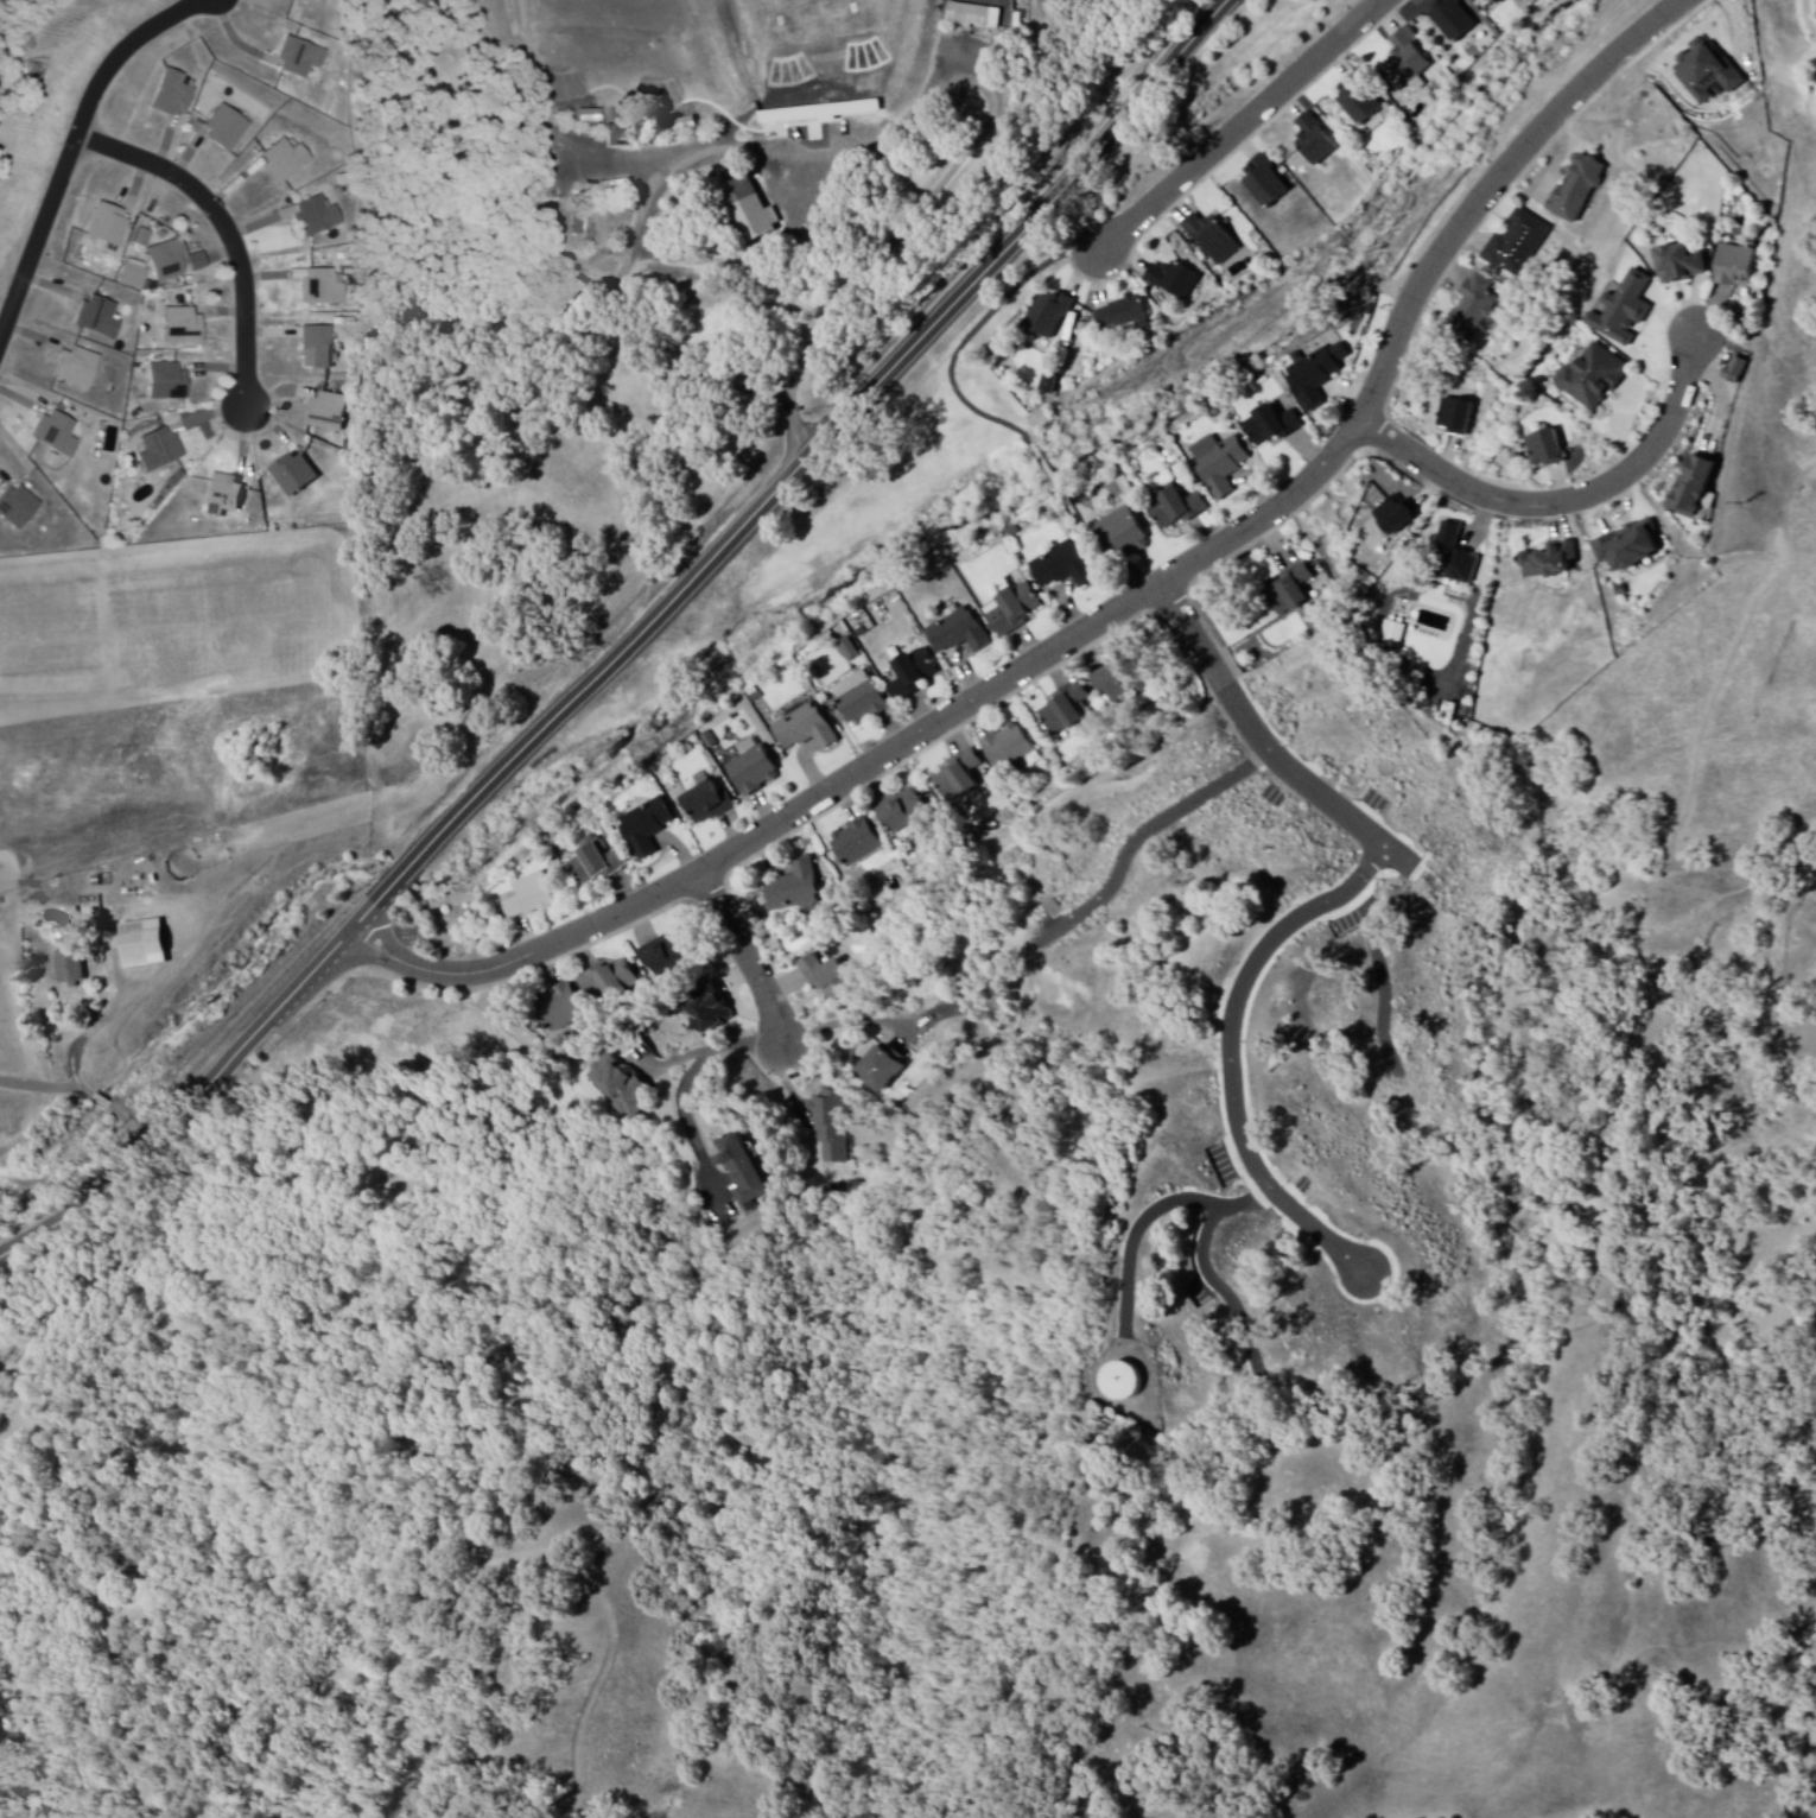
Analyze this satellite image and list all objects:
building: (1534, 1)
building: (1499, 2)
building: (973, 17)
building: (1452, 19)
building: (297, 59)
building: (1407, 62)
building: (1703, 72)
building: (170, 95)
building: (1357, 102)
building: (586, 118)
road: (1243, 127)
building: (222, 131)
building: (1313, 142)
road: (72, 157)
building: (281, 161)
road: (960, 170)
building: (1264, 183)
building: (1576, 190)
building: (749, 210)
building: (313, 217)
building: (106, 228)
road: (230, 236)
building: (141, 239)
building: (1211, 240)
building: (1516, 245)
building: (165, 262)
building: (195, 264)
building: (1680, 265)
road: (663, 267)
building: (1734, 267)
building: (131, 277)
building: (1173, 280)
building: (317, 289)
building: (1472, 310)
building: (1623, 312)
building: (1048, 316)
building: (1123, 316)
building: (96, 319)
building: (178, 328)
building: (316, 348)
building: (74, 369)
building: (1734, 370)
building: (1316, 376)
building: (1592, 379)
building: (164, 384)
building: (1048, 385)
building: (326, 413)
building: (1454, 418)
building: (1269, 427)
building: (52, 435)
building: (1544, 450)
building: (157, 451)
building: (1219, 465)
building: (292, 475)
building: (1691, 487)
building: (221, 498)
road: (1568, 505)
building: (17, 508)
building: (1175, 508)
building: (1395, 518)
building: (1120, 536)
building: (1626, 547)
building: (1454, 557)
building: (1548, 562)
building: (1061, 569)
building: (1289, 590)
building: (1010, 612)
road: (1110, 621)
building: (958, 634)
road: (631, 642)
building: (847, 651)
building: (910, 676)
building: (1119, 683)
building: (858, 701)
building: (804, 730)
building: (1007, 748)
road: (1264, 748)
building: (750, 769)
building: (958, 781)
building: (706, 805)
building: (901, 815)
building: (646, 828)
building: (856, 844)
building: (590, 866)
building: (794, 889)
building: (527, 899)
building: (140, 945)
building: (663, 957)
road: (751, 967)
building: (69, 973)
building: (821, 974)
building: (610, 981)
road: (1385, 981)
building: (558, 1011)
building: (706, 1013)
road: (847, 1021)
road: (1227, 1057)
building: (617, 1088)
building: (832, 1126)
building: (741, 1174)
road: (1149, 1218)
road: (1223, 1290)
building: (1117, 1385)

